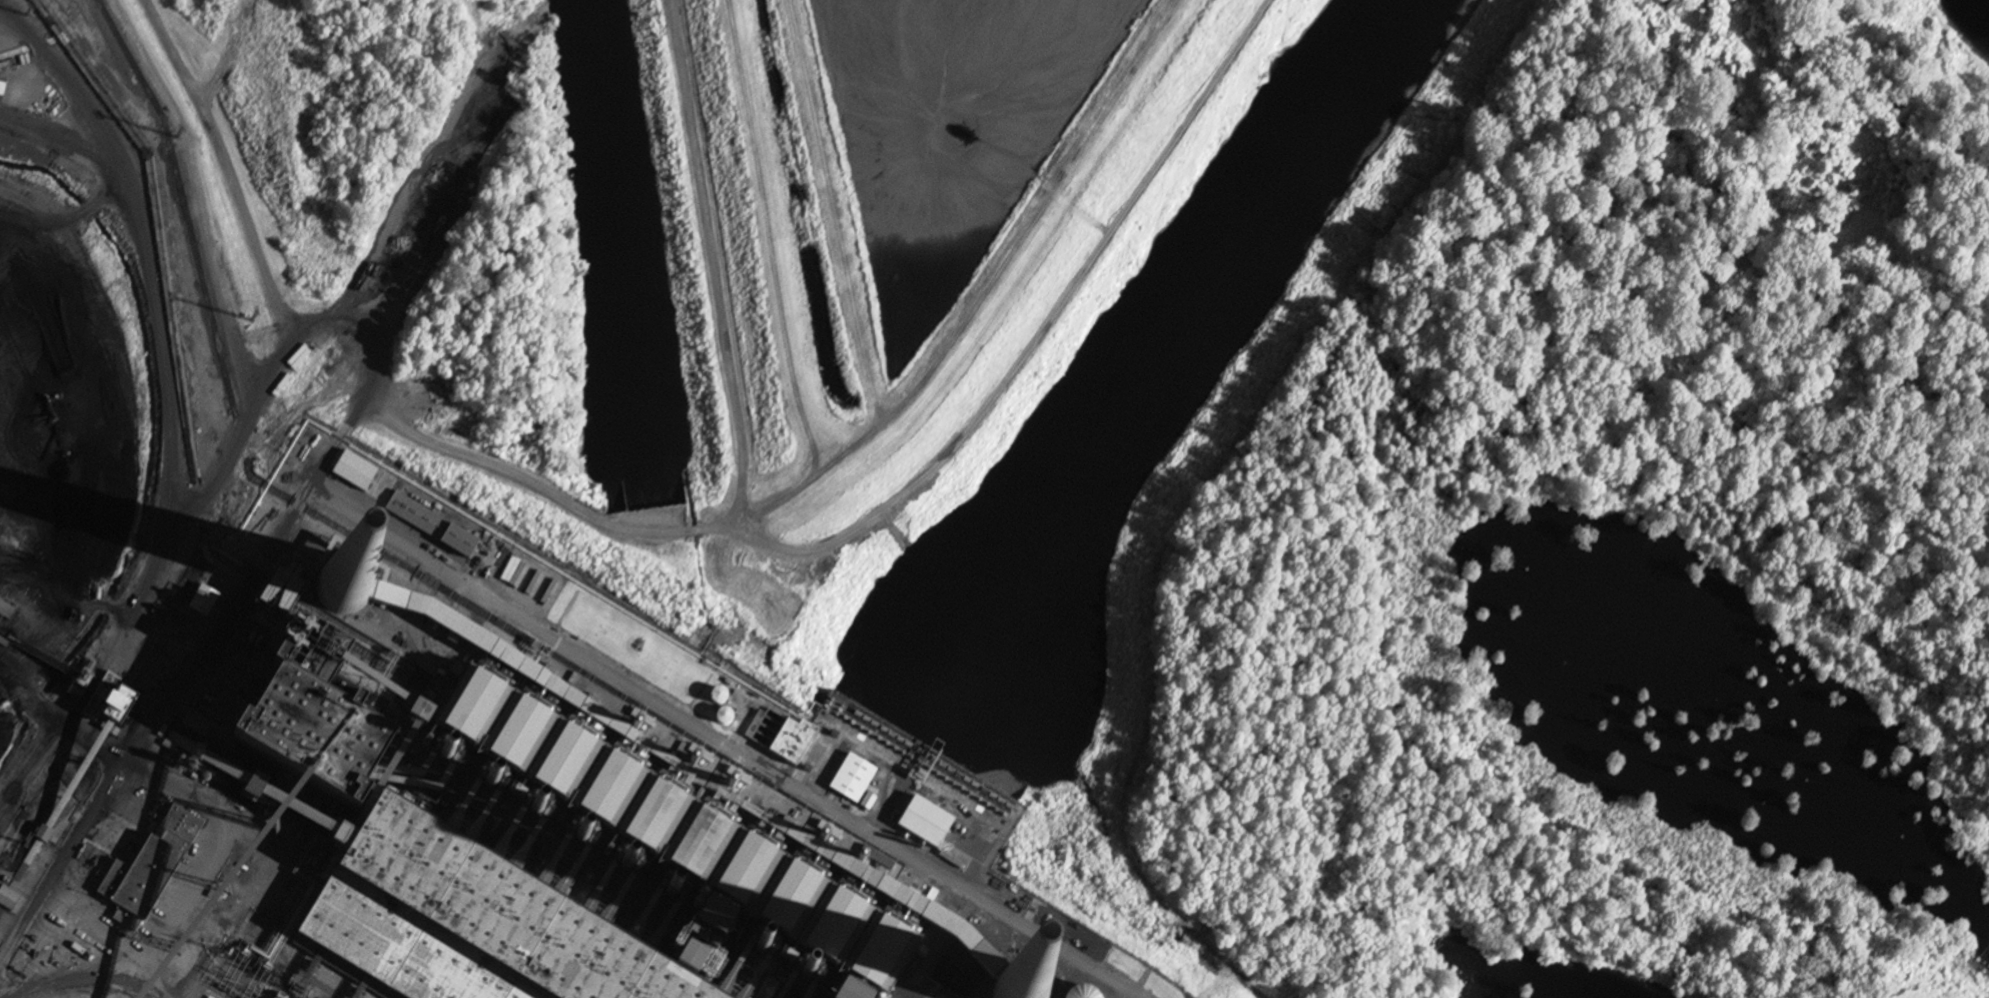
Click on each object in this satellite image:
building: (353, 471)
building: (383, 489)
building: (417, 517)
chimney: (343, 584)
road: (234, 591)
building: (6, 611)
building: (718, 698)
building: (107, 702)
building: (419, 719)
building: (306, 727)
building: (793, 743)
building: (550, 745)
chimney: (446, 752)
power plant: (480, 778)
building: (853, 780)
chimney: (489, 785)
chimney: (537, 811)
building: (926, 824)
building: (43, 835)
chimney: (577, 837)
chimney: (625, 868)
building: (148, 870)
building: (744, 871)
chimney: (670, 895)
building: (1012, 899)
chimney: (717, 922)
building: (454, 924)
building: (897, 940)
chimney: (762, 951)
railway: (254, 980)
chimney: (807, 980)
road: (153, 985)
building: (831, 991)
chimney: (1021, 997)

